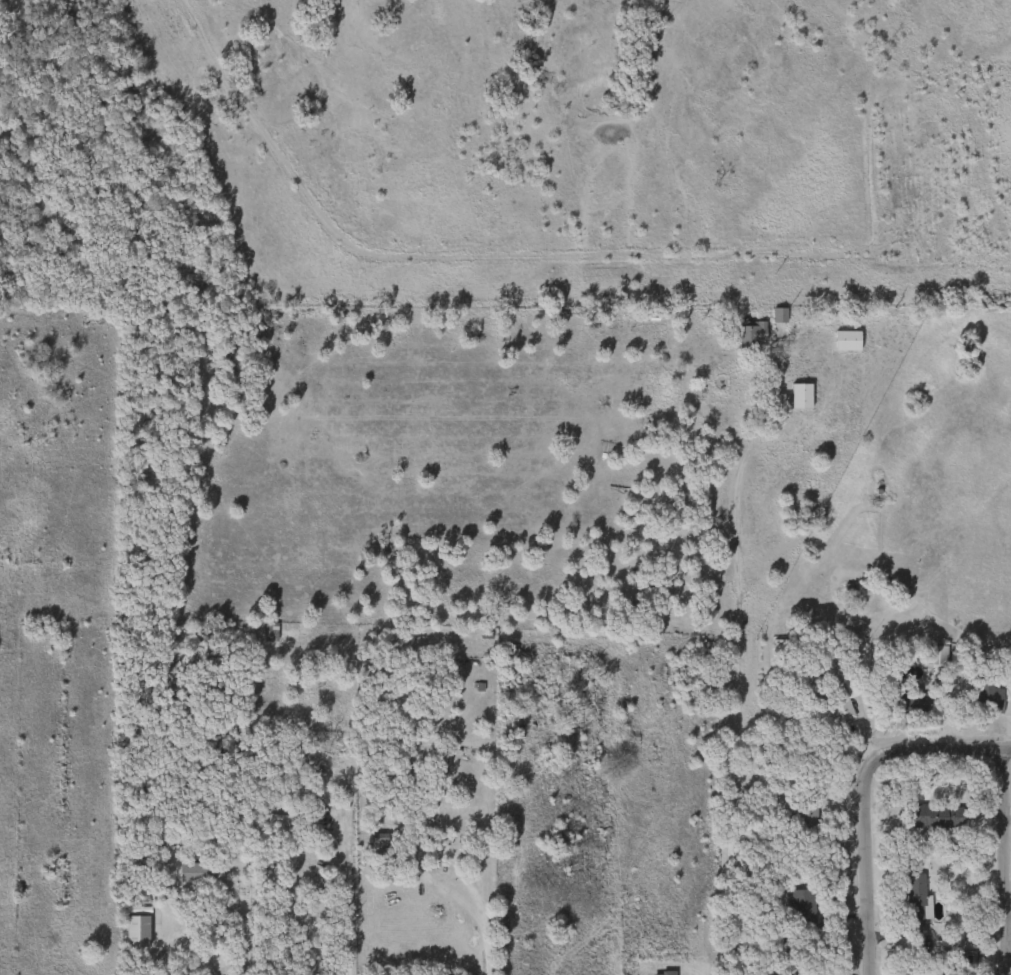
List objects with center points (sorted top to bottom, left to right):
building: (752, 335)
building: (844, 341)
building: (798, 396)
building: (506, 641)
building: (934, 655)
building: (987, 698)
building: (842, 699)
building: (319, 771)
road: (864, 784)
building: (431, 809)
building: (934, 817)
road: (1006, 855)
building: (912, 897)
building: (800, 905)
road: (483, 910)
road: (346, 912)
road: (188, 955)
building: (920, 972)
building: (661, 974)

